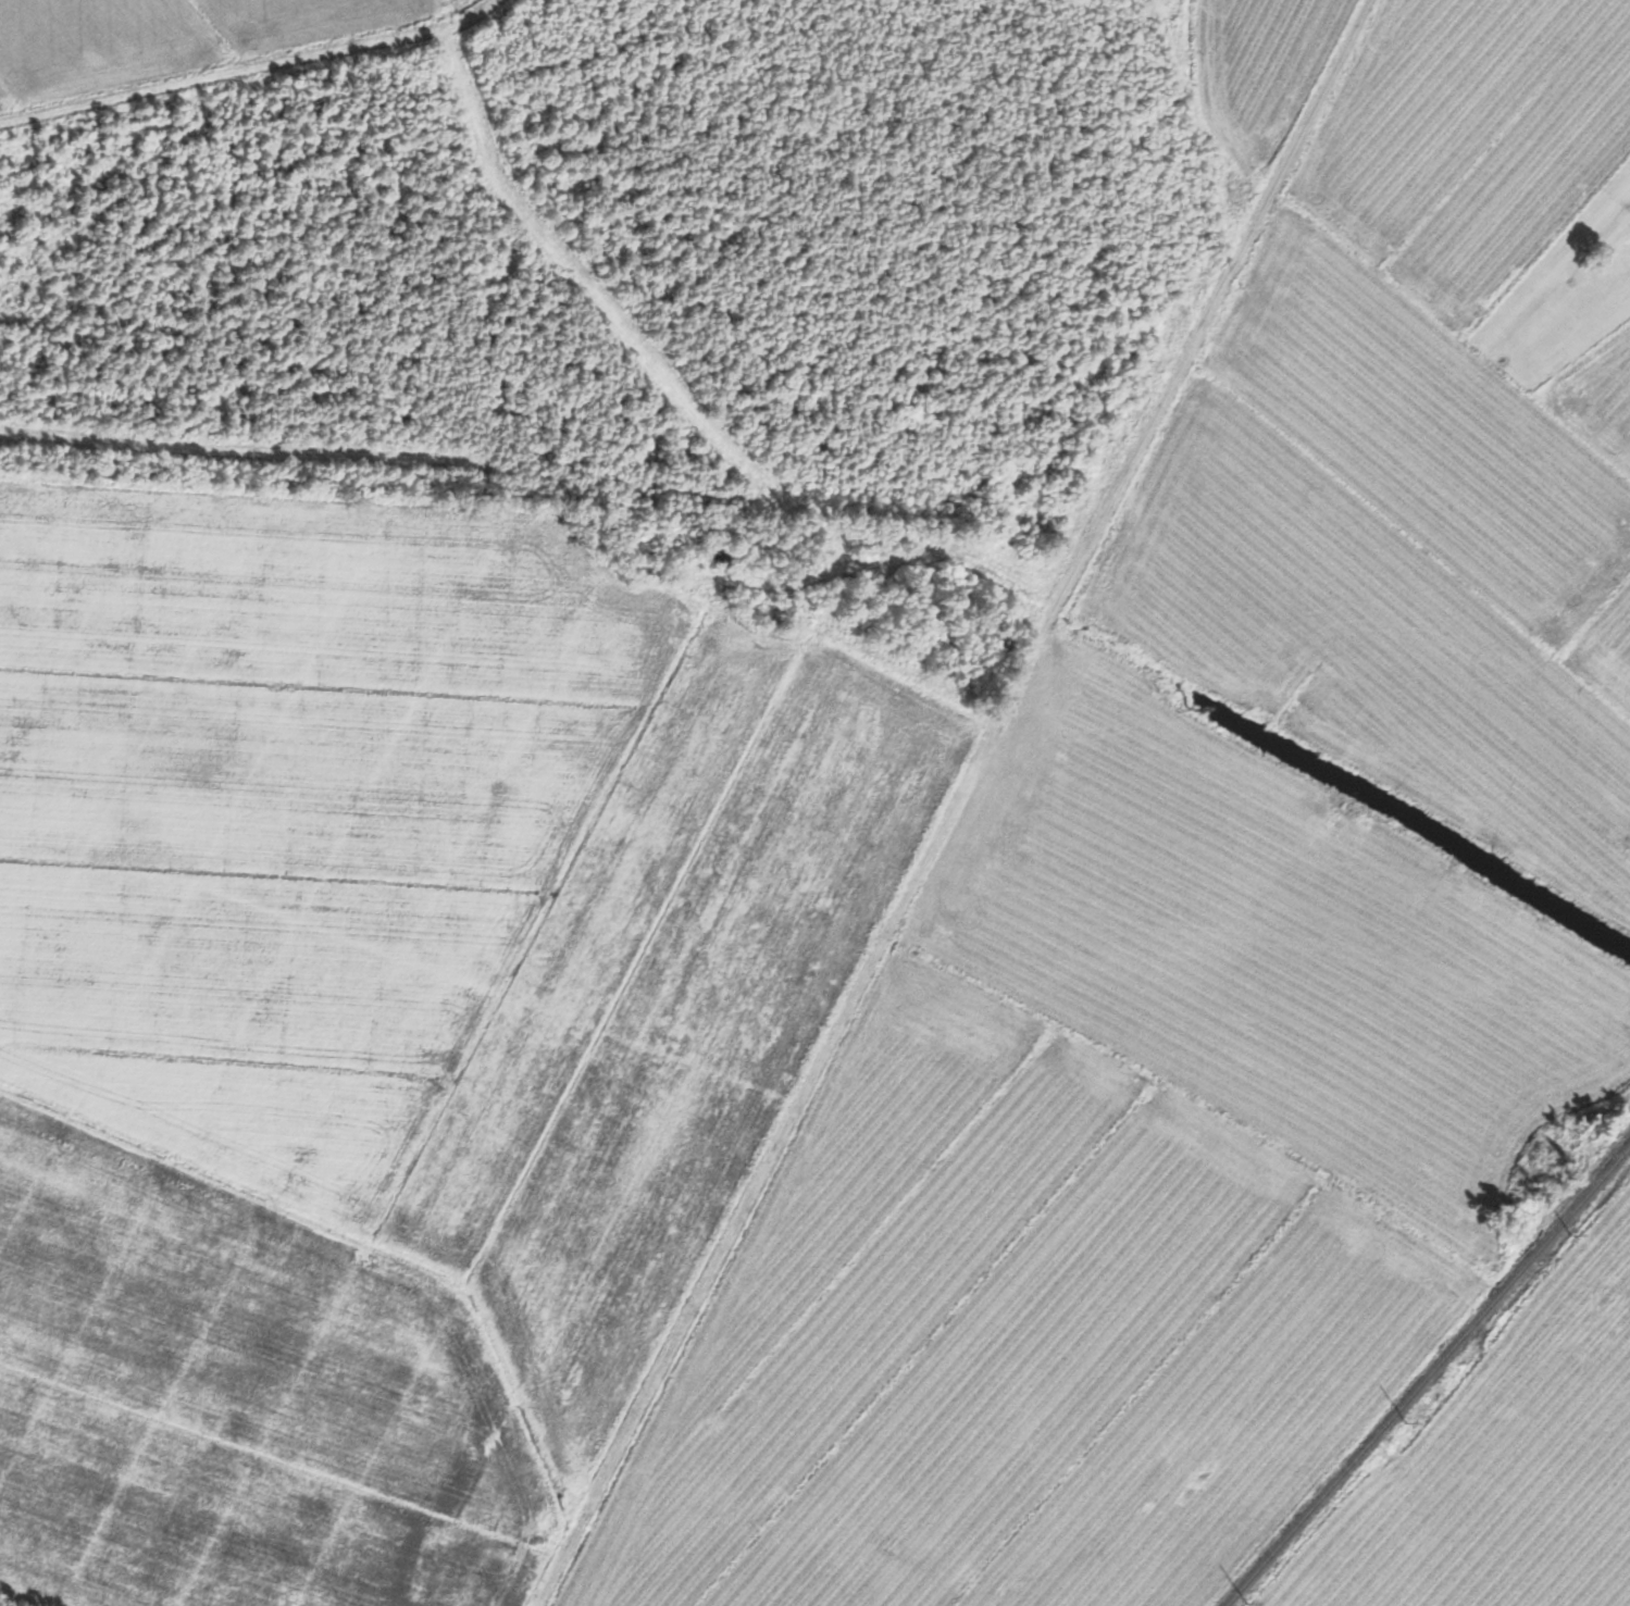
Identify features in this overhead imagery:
building: (996, 642)
power tower: (1573, 1233)
railway: (1428, 1378)
power tower: (1408, 1421)
power tower: (1248, 1604)

